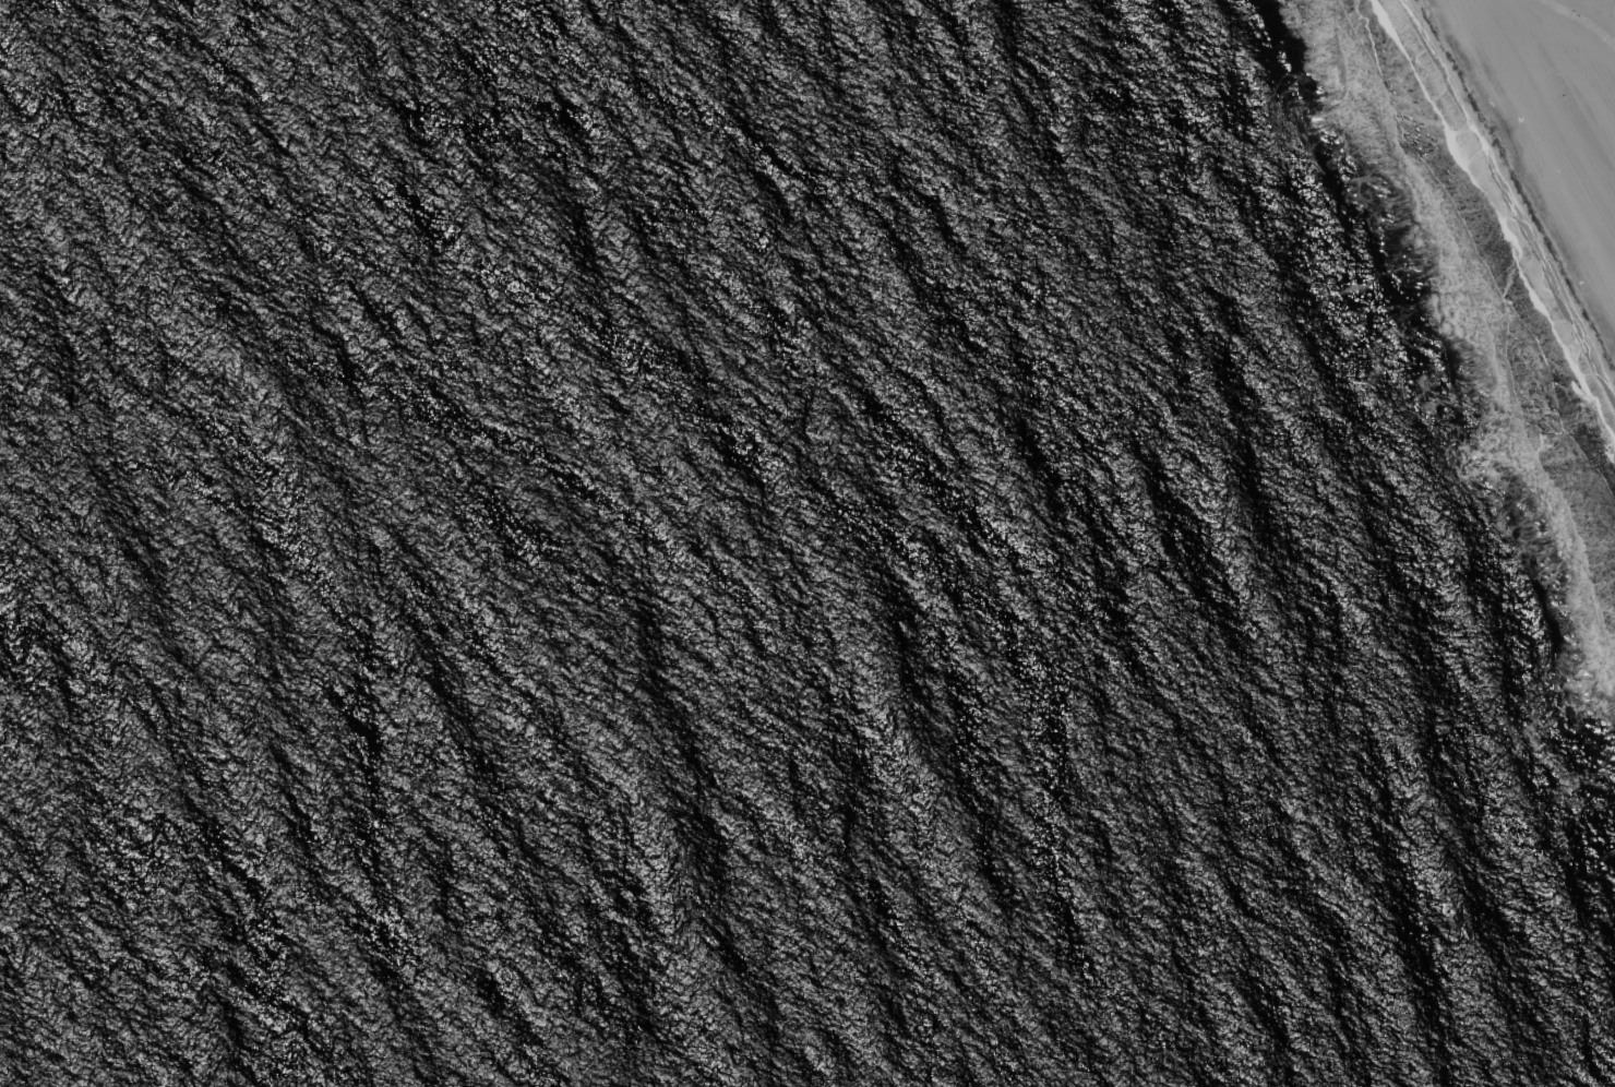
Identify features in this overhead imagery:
road: (1582, 19)

